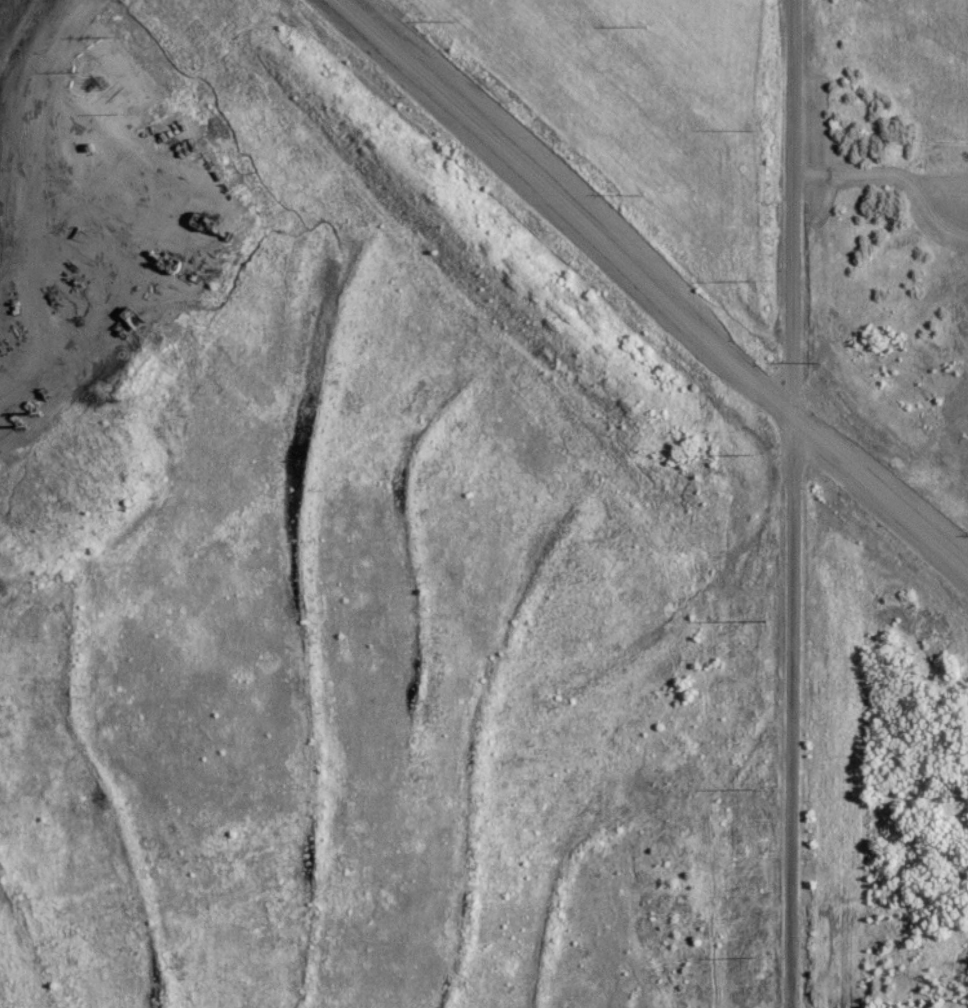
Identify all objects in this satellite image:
road: (893, 176)
road: (566, 209)
road: (879, 500)
road: (789, 503)
quarry: (308, 535)

